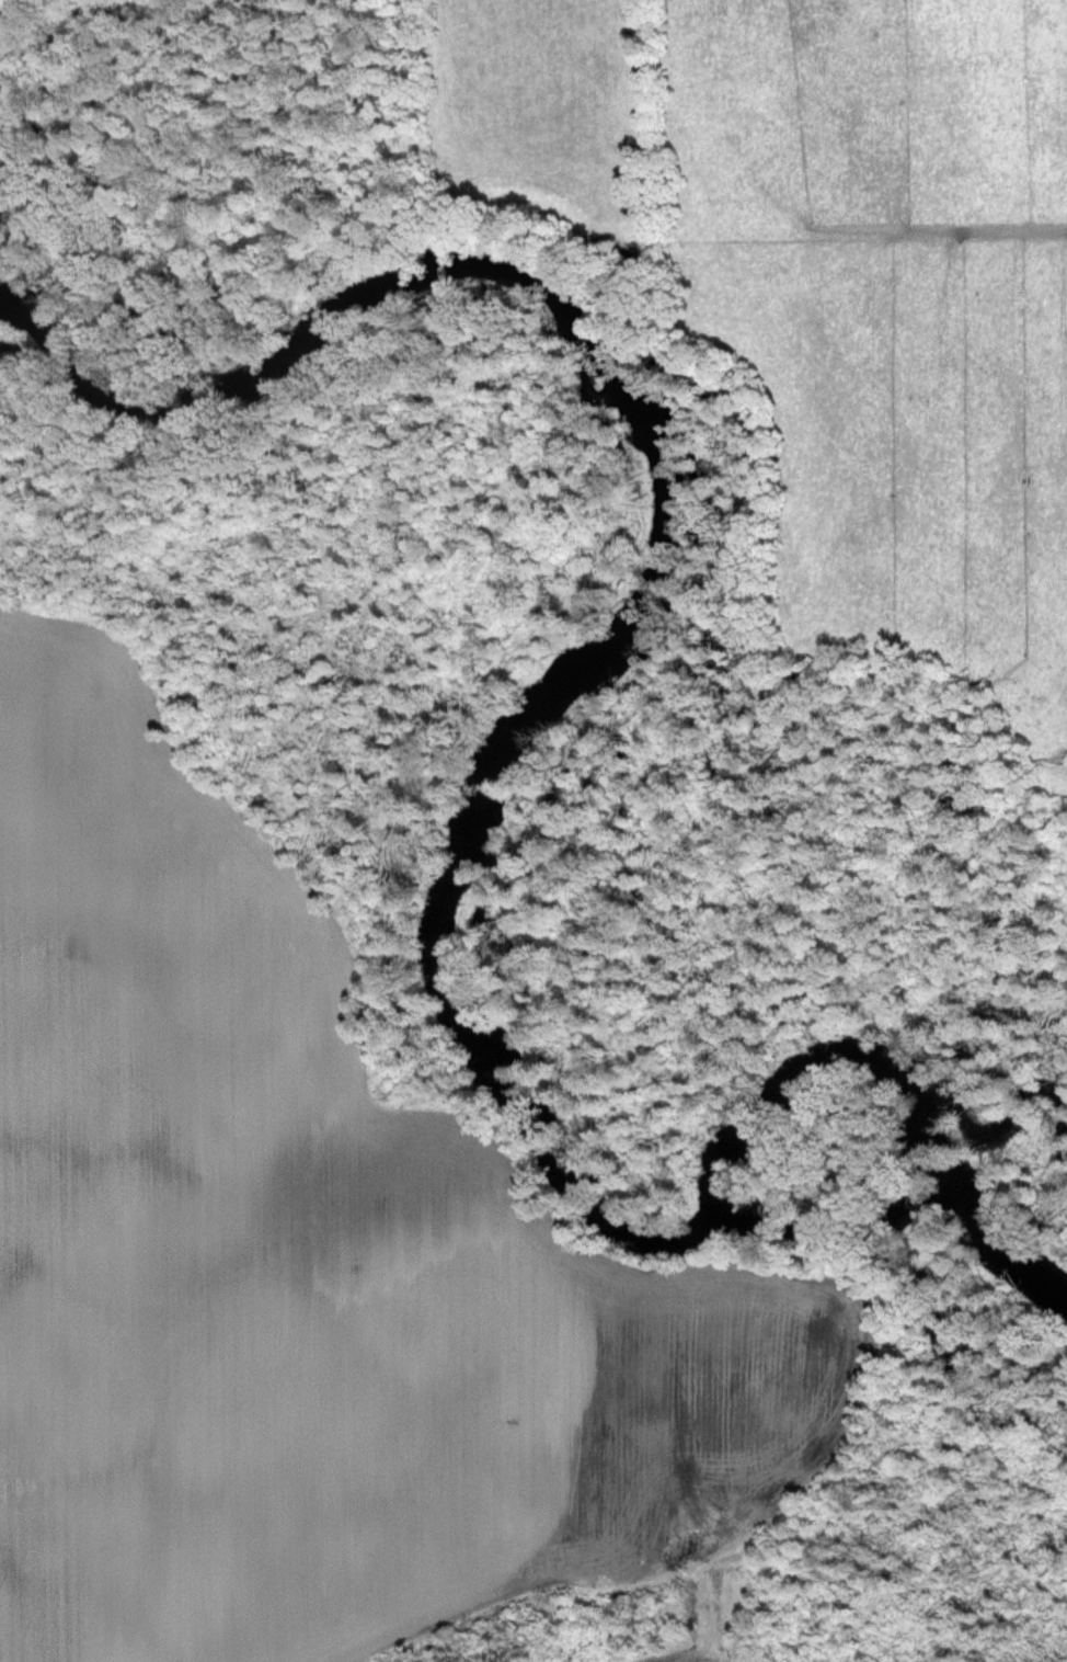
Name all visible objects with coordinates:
river: (552, 716)

